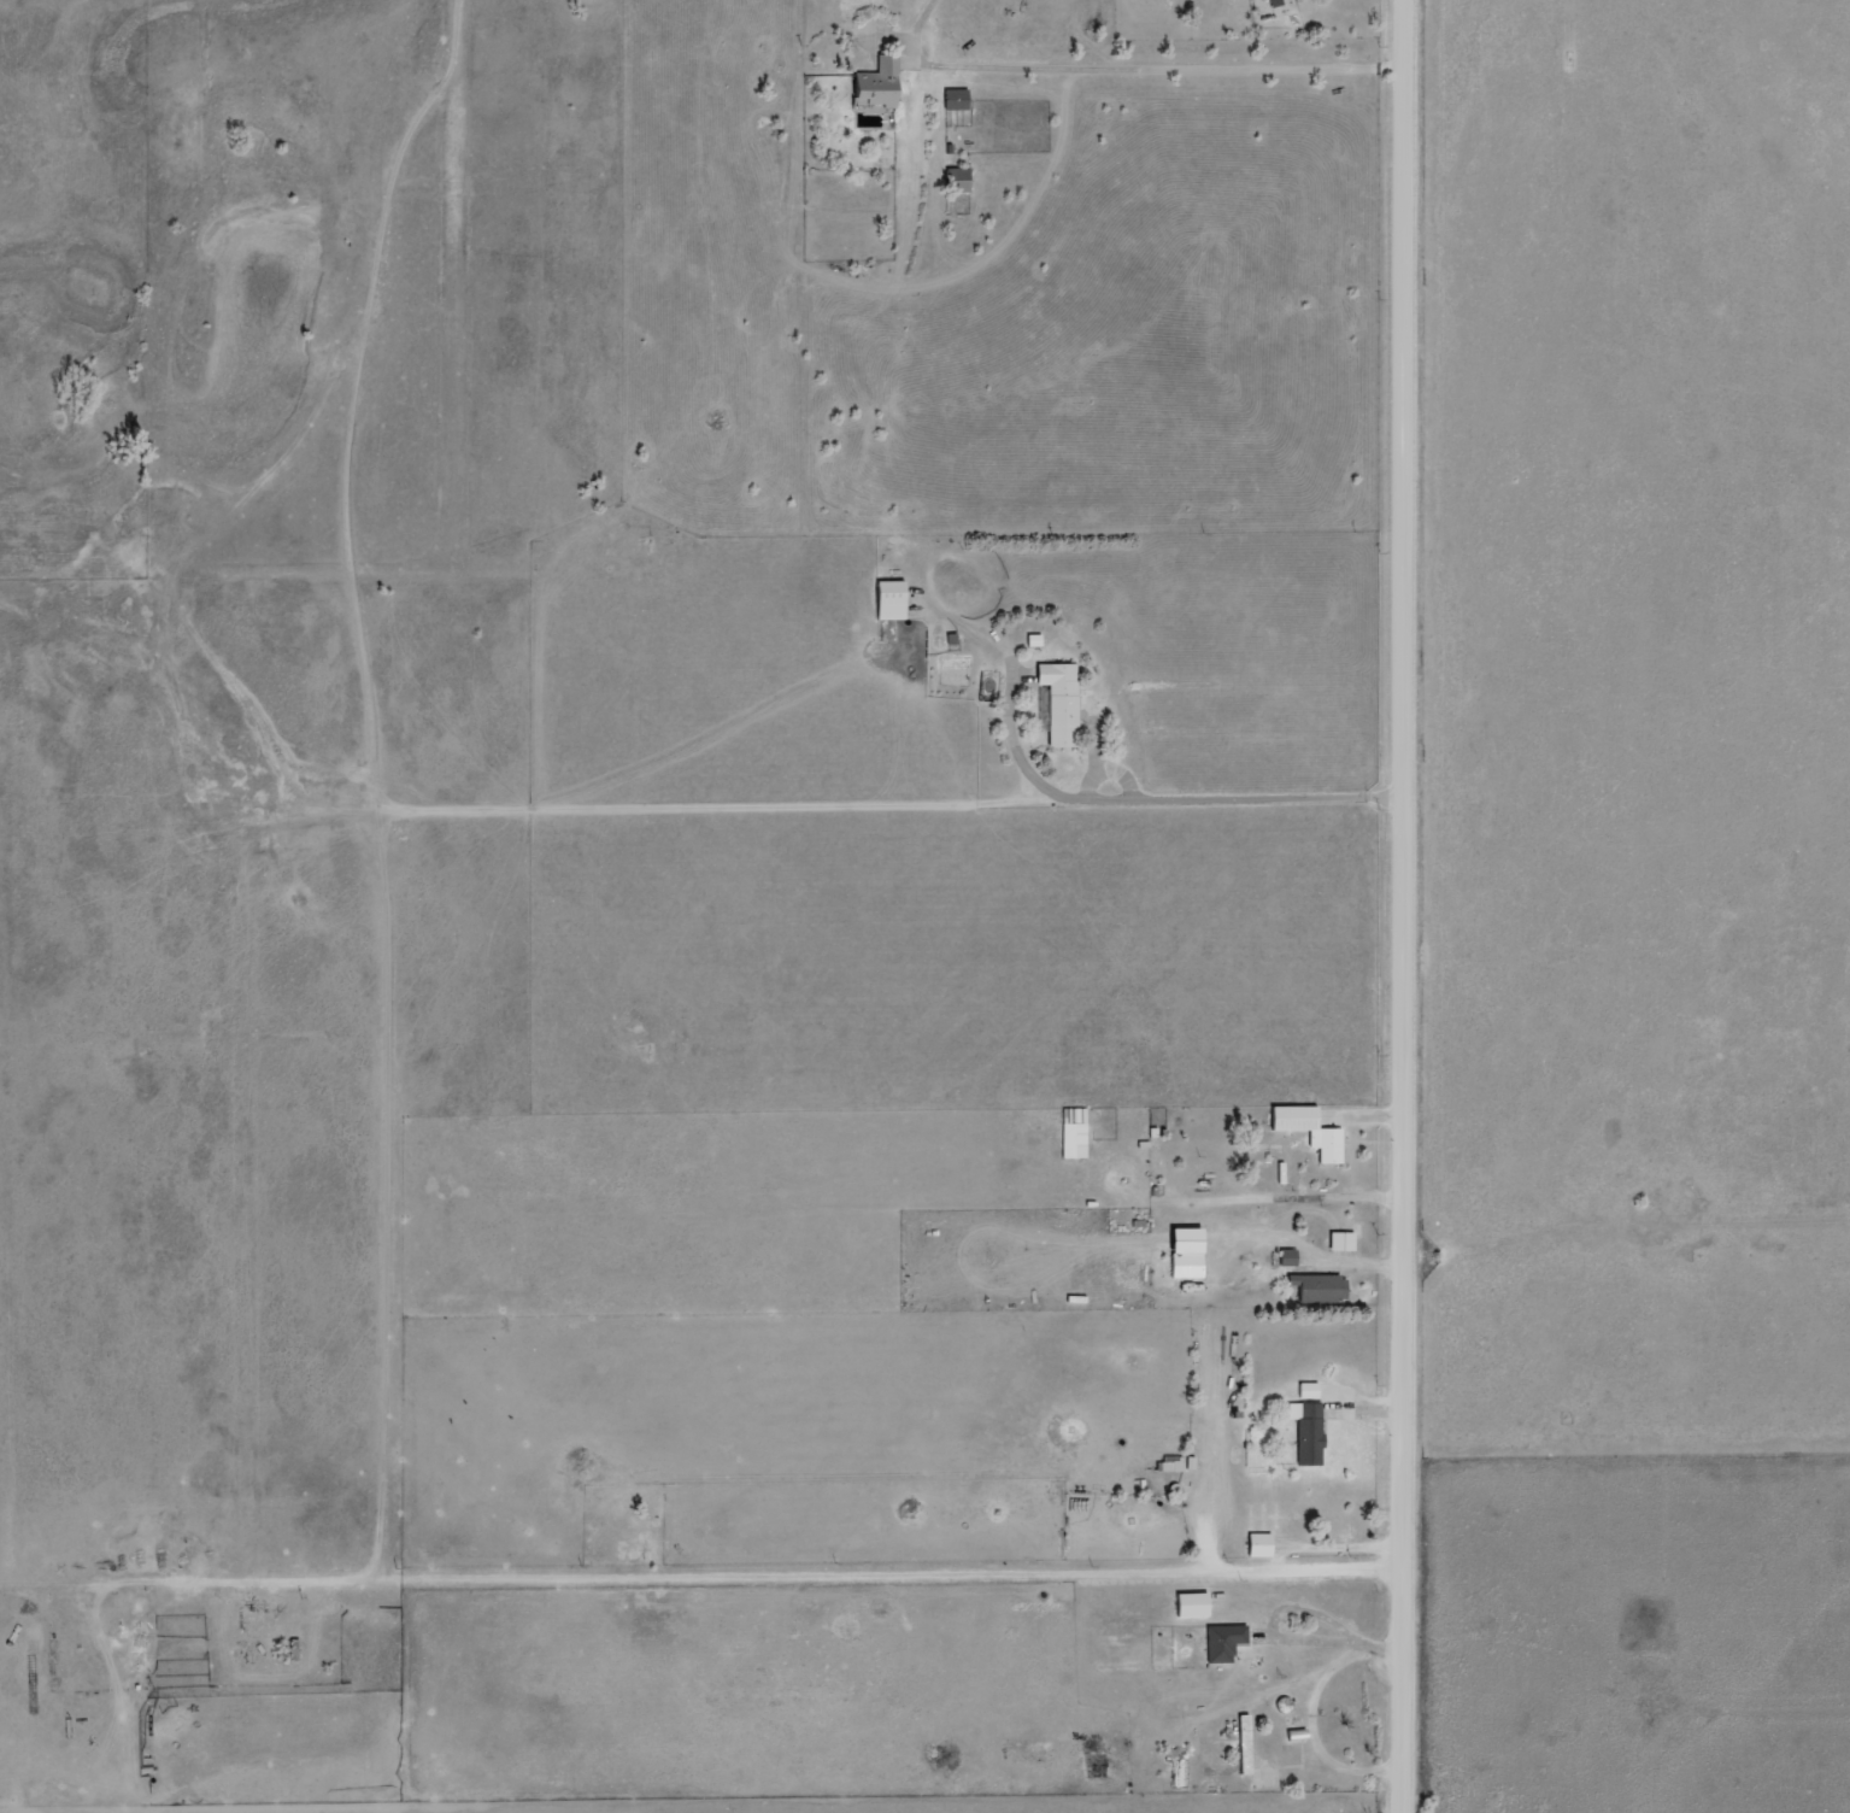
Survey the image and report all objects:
building: (1276, 2)
building: (880, 81)
building: (958, 98)
building: (959, 180)
road: (1410, 400)
building: (892, 599)
building: (1062, 700)
building: (1311, 1130)
building: (1076, 1132)
building: (1343, 1239)
building: (1290, 1256)
building: (1188, 1265)
building: (1321, 1285)
road: (1409, 1306)
building: (1309, 1389)
building: (1310, 1431)
building: (1261, 1544)
road: (1014, 1594)
building: (1193, 1603)
building: (1226, 1641)
building: (1246, 1743)

